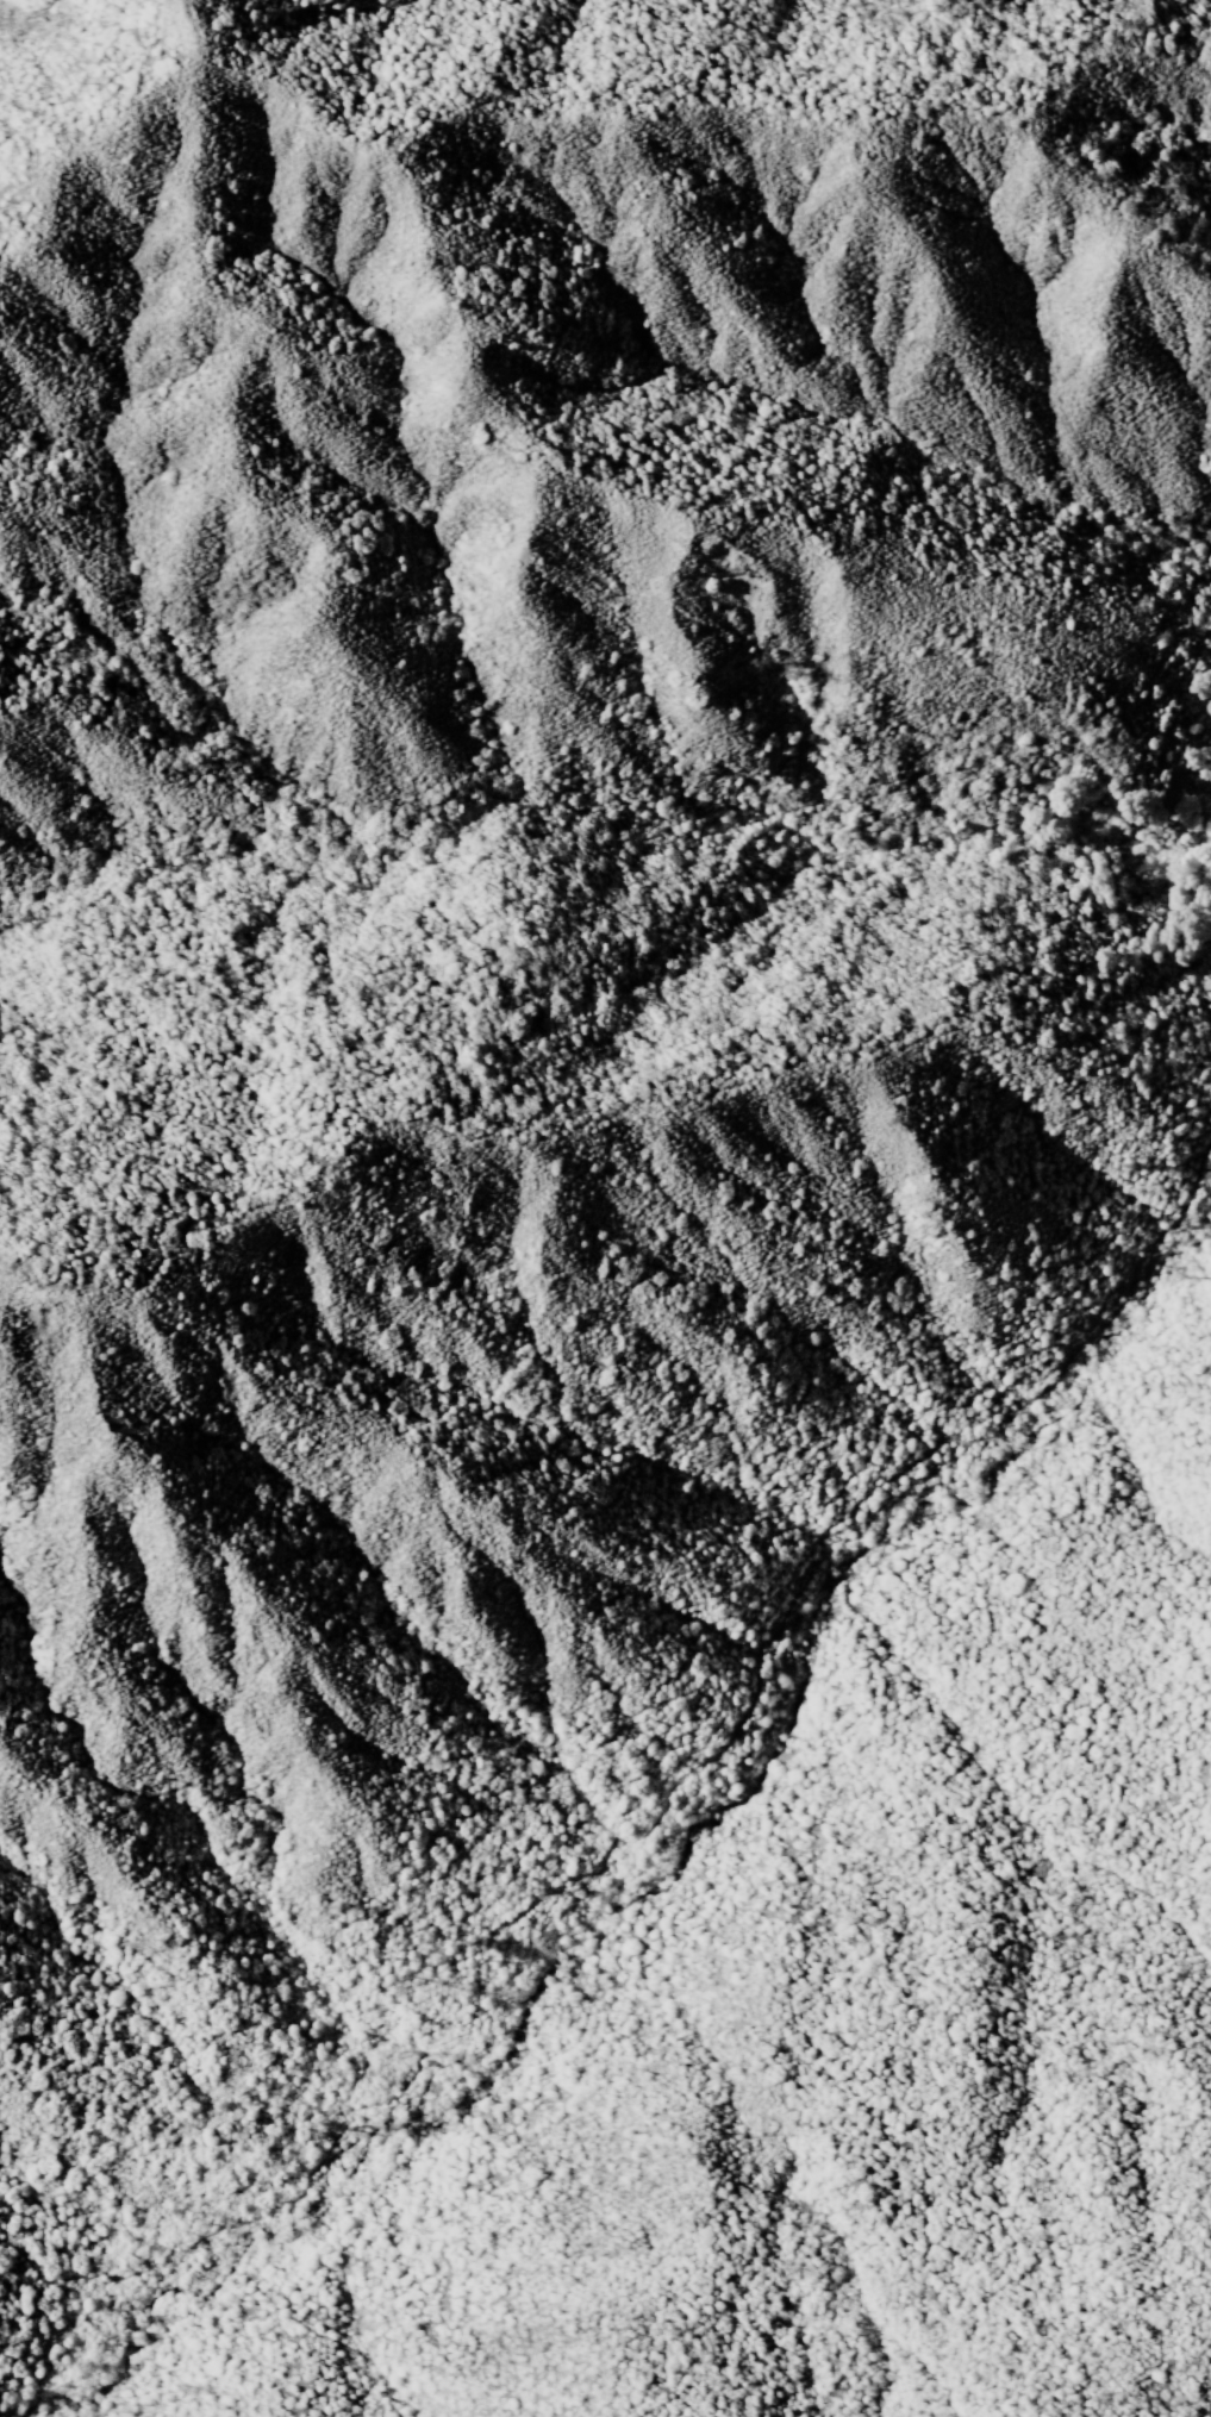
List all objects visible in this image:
road: (1209, 844)
road: (661, 1813)

